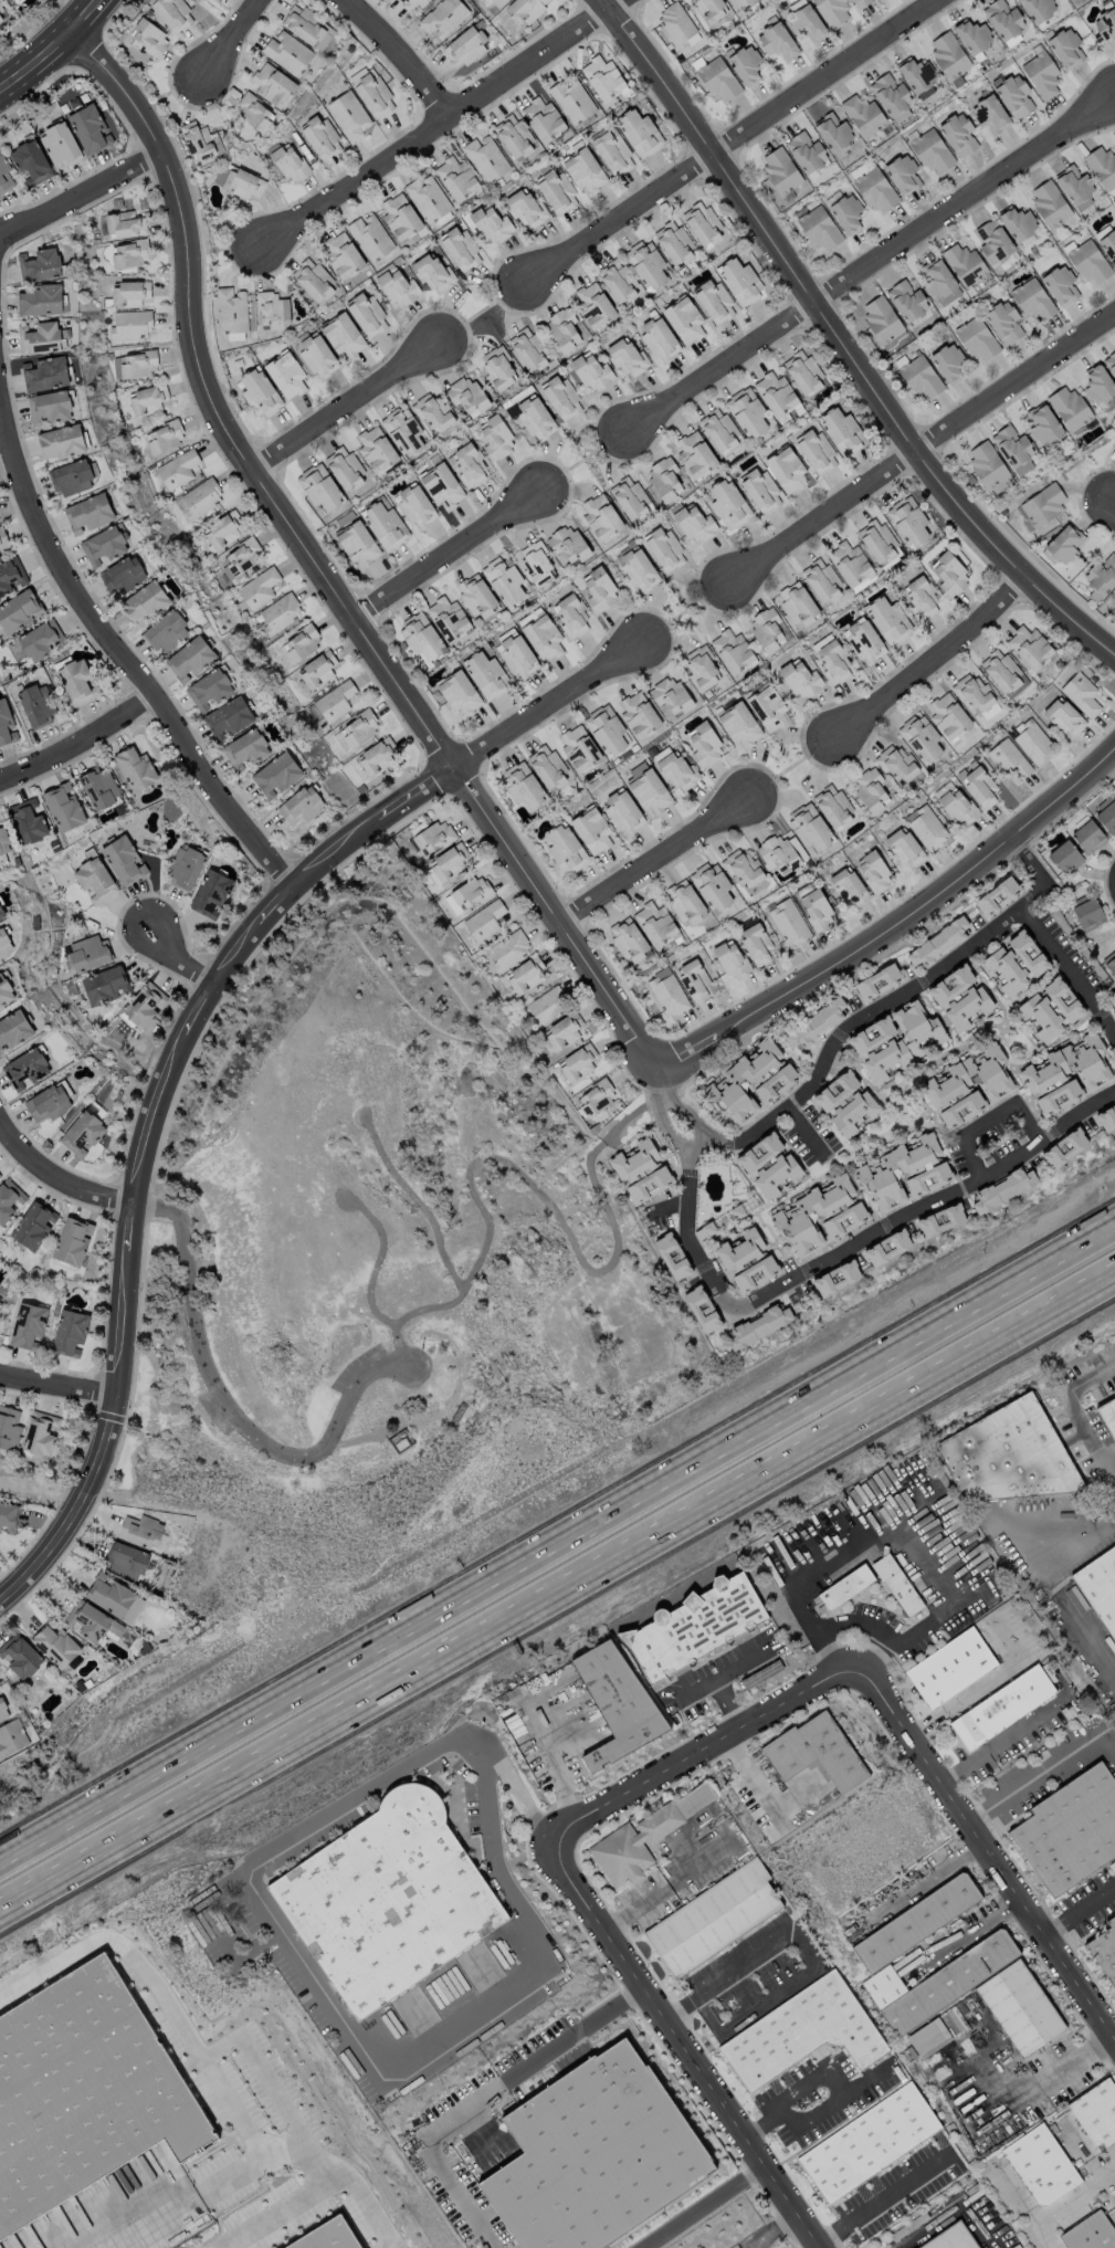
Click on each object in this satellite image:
building: (17, 0)
building: (212, 0)
building: (411, 2)
building: (498, 2)
building: (860, 2)
building: (737, 3)
building: (709, 9)
building: (1038, 9)
building: (523, 10)
building: (832, 11)
building: (2, 13)
building: (172, 13)
building: (442, 17)
building: (1002, 19)
building: (804, 22)
building: (303, 23)
building: (1105, 23)
building: (676, 25)
building: (971, 35)
building: (148, 36)
building: (776, 40)
road: (227, 41)
building: (464, 45)
building: (1065, 48)
road: (54, 49)
building: (286, 51)
road: (389, 54)
building: (948, 54)
building: (745, 63)
building: (1040, 73)
building: (916, 74)
building: (603, 80)
building: (718, 80)
building: (272, 84)
building: (890, 94)
building: (374, 95)
building: (1013, 96)
building: (571, 98)
building: (252, 111)
building: (348, 114)
building: (863, 114)
building: (989, 114)
road: (434, 115)
building: (541, 118)
building: (88, 128)
building: (833, 132)
building: (639, 133)
building: (957, 134)
building: (319, 136)
building: (513, 137)
building: (199, 141)
road: (730, 141)
building: (59, 144)
building: (932, 150)
building: (611, 151)
building: (806, 151)
building: (485, 157)
building: (30, 161)
building: (288, 162)
building: (1102, 166)
building: (583, 169)
building: (859, 169)
building: (780, 170)
building: (220, 174)
building: (902, 174)
building: (4, 177)
building: (455, 178)
building: (242, 182)
building: (1073, 183)
building: (556, 190)
building: (875, 190)
road: (80, 197)
building: (427, 198)
building: (1049, 202)
building: (525, 208)
building: (845, 212)
building: (399, 216)
building: (1018, 222)
building: (124, 223)
building: (490, 223)
building: (702, 223)
building: (819, 228)
building: (413, 235)
building: (369, 237)
building: (992, 240)
building: (673, 242)
building: (1108, 245)
building: (460, 248)
building: (129, 253)
building: (341, 254)
building: (1088, 262)
building: (964, 263)
building: (39, 264)
building: (646, 264)
road: (869, 266)
building: (312, 280)
building: (617, 281)
building: (739, 281)
building: (1060, 284)
building: (397, 287)
building: (128, 293)
building: (1032, 298)
building: (40, 300)
building: (906, 300)
building: (713, 301)
building: (593, 305)
building: (231, 309)
building: (272, 309)
building: (366, 314)
building: (683, 318)
building: (881, 318)
building: (1003, 322)
building: (130, 323)
building: (562, 328)
building: (343, 335)
building: (41, 337)
building: (659, 338)
building: (977, 338)
road: (839, 340)
building: (527, 349)
building: (316, 355)
building: (627, 357)
building: (947, 363)
building: (1111, 363)
building: (134, 364)
building: (496, 367)
building: (591, 370)
building: (803, 372)
building: (45, 374)
building: (285, 374)
building: (921, 377)
building: (1097, 385)
building: (257, 392)
building: (775, 392)
building: (466, 395)
building: (560, 397)
building: (148, 399)
road: (344, 401)
building: (49, 406)
building: (1070, 407)
building: (431, 411)
building: (747, 412)
building: (534, 417)
building: (1042, 423)
building: (402, 430)
building: (719, 430)
building: (841, 431)
building: (164, 435)
building: (495, 438)
building: (61, 441)
building: (1011, 445)
road: (915, 447)
building: (376, 449)
building: (814, 450)
building: (695, 454)
building: (986, 463)
building: (469, 465)
building: (177, 469)
building: (344, 469)
building: (785, 469)
building: (73, 476)
building: (664, 479)
building: (441, 485)
building: (318, 487)
building: (759, 490)
building: (628, 496)
road: (1112, 496)
building: (198, 498)
building: (1042, 503)
building: (727, 504)
building: (416, 505)
building: (87, 513)
building: (600, 516)
building: (908, 521)
building: (694, 524)
building: (383, 525)
building: (222, 528)
building: (2, 538)
building: (876, 540)
building: (357, 543)
building: (567, 544)
building: (103, 545)
building: (1063, 545)
building: (663, 548)
road: (445, 552)
building: (240, 557)
building: (536, 561)
building: (849, 561)
building: (638, 569)
road: (317, 570)
building: (122, 574)
building: (948, 574)
building: (11, 575)
building: (1101, 575)
building: (820, 579)
building: (505, 580)
building: (862, 581)
building: (257, 587)
building: (599, 590)
building: (1114, 590)
building: (476, 595)
building: (921, 598)
building: (144, 601)
building: (797, 602)
building: (19, 610)
building: (278, 612)
building: (570, 614)
building: (448, 618)
building: (887, 619)
building: (766, 629)
building: (166, 630)
building: (543, 637)
building: (40, 639)
building: (420, 639)
building: (863, 640)
building: (301, 642)
building: (1029, 647)
building: (732, 650)
building: (517, 654)
road: (927, 655)
building: (188, 659)
building: (833, 662)
road: (122, 665)
building: (701, 666)
building: (316, 670)
building: (1002, 672)
building: (485, 673)
building: (800, 679)
building: (76, 681)
building: (209, 687)
building: (459, 692)
building: (971, 692)
building: (1081, 693)
building: (670, 695)
building: (335, 700)
road: (545, 703)
building: (35, 704)
building: (767, 707)
building: (638, 714)
building: (947, 715)
building: (1062, 716)
building: (228, 717)
building: (6, 724)
building: (738, 724)
building: (358, 727)
building: (607, 729)
building: (921, 737)
building: (704, 745)
building: (578, 747)
road: (78, 749)
building: (244, 749)
building: (377, 756)
building: (1008, 758)
building: (546, 766)
building: (897, 766)
building: (135, 768)
building: (677, 771)
building: (276, 774)
building: (522, 786)
building: (979, 786)
building: (98, 787)
building: (648, 788)
building: (870, 789)
building: (1114, 791)
building: (301, 805)
building: (832, 806)
building: (957, 806)
building: (62, 807)
building: (622, 810)
building: (1106, 815)
building: (27, 820)
building: (808, 827)
building: (926, 827)
building: (591, 830)
building: (434, 836)
building: (1087, 836)
building: (2, 841)
building: (903, 845)
building: (564, 849)
building: (780, 851)
road: (652, 855)
building: (1064, 857)
building: (123, 860)
building: (448, 861)
building: (183, 868)
building: (741, 868)
building: (873, 871)
road: (356, 872)
building: (94, 880)
building: (712, 885)
building: (849, 886)
building: (210, 893)
building: (466, 894)
building: (997, 895)
building: (684, 901)
building: (816, 908)
building: (1086, 912)
building: (1, 913)
building: (483, 920)
building: (788, 921)
road: (900, 922)
building: (654, 923)
building: (627, 938)
road: (1050, 939)
building: (3, 942)
building: (755, 943)
building: (937, 943)
building: (508, 948)
building: (88, 953)
road: (176, 956)
building: (730, 958)
building: (1016, 962)
building: (1109, 962)
building: (524, 975)
building: (693, 978)
building: (877, 981)
building: (105, 984)
building: (4, 988)
building: (667, 994)
building: (960, 997)
building: (1114, 998)
building: (144, 1005)
building: (546, 1005)
building: (1050, 1008)
road: (860, 1015)
building: (814, 1022)
building: (12, 1029)
building: (562, 1031)
building: (895, 1039)
building: (577, 1062)
building: (24, 1069)
building: (1066, 1072)
road: (659, 1079)
building: (751, 1081)
building: (969, 1084)
building: (595, 1097)
building: (49, 1101)
building: (845, 1103)
building: (95, 1110)
road: (686, 1112)
road: (986, 1116)
building: (1106, 1117)
road: (664, 1121)
road: (806, 1128)
building: (81, 1133)
road: (144, 1136)
road: (699, 1144)
building: (1064, 1148)
building: (634, 1160)
road: (53, 1162)
building: (768, 1165)
building: (904, 1172)
building: (649, 1184)
road: (539, 1189)
building: (1002, 1189)
building: (9, 1198)
road: (414, 1201)
road: (928, 1201)
road: (663, 1208)
building: (819, 1215)
building: (940, 1219)
building: (32, 1225)
road: (687, 1237)
building: (72, 1240)
building: (886, 1248)
building: (740, 1249)
building: (671, 1256)
road: (379, 1257)
building: (754, 1273)
building: (835, 1278)
park: (385, 1283)
building: (0, 1302)
building: (701, 1309)
building: (27, 1324)
building: (758, 1325)
building: (69, 1332)
road: (54, 1376)
parking lot: (368, 1386)
road: (1077, 1407)
road: (227, 1412)
building: (1107, 1414)
building: (8, 1427)
building: (40, 1432)
building: (399, 1440)
building: (1007, 1454)
road: (876, 1509)
building: (8, 1517)
building: (139, 1530)
road: (558, 1546)
building: (125, 1559)
building: (896, 1584)
road: (557, 1585)
building: (1100, 1585)
building: (844, 1586)
building: (108, 1595)
building: (90, 1620)
building: (695, 1626)
road: (1087, 1640)
building: (54, 1643)
building: (19, 1655)
building: (949, 1667)
road: (715, 1677)
road: (976, 1685)
road: (697, 1687)
building: (616, 1702)
building: (1002, 1705)
building: (2, 1711)
road: (1024, 1722)
building: (11, 1737)
road: (1081, 1743)
road: (696, 1745)
building: (813, 1751)
road: (964, 1766)
road: (757, 1787)
road: (1004, 1794)
building: (1070, 1829)
building: (642, 1837)
road: (957, 1857)
road: (991, 1858)
road: (662, 1889)
road: (897, 1898)
building: (388, 1900)
road: (1077, 1908)
building: (713, 1918)
building: (915, 1921)
building: (1105, 1947)
road: (804, 1950)
building: (937, 1982)
road: (315, 1988)
building: (1019, 2007)
building: (801, 2031)
building: (936, 2031)
road: (683, 2051)
road: (1073, 2060)
road: (203, 2062)
road: (263, 2076)
road: (1002, 2093)
building: (84, 2095)
road: (482, 2098)
road: (828, 2101)
building: (1096, 2112)
building: (867, 2142)
building: (593, 2154)
building: (1040, 2164)
road: (877, 2199)
road: (183, 2200)
road: (1067, 2204)
road: (699, 2207)
road: (277, 2210)
road: (951, 2214)
road: (769, 2231)
building: (1090, 2233)
building: (334, 2237)
building: (950, 2238)

